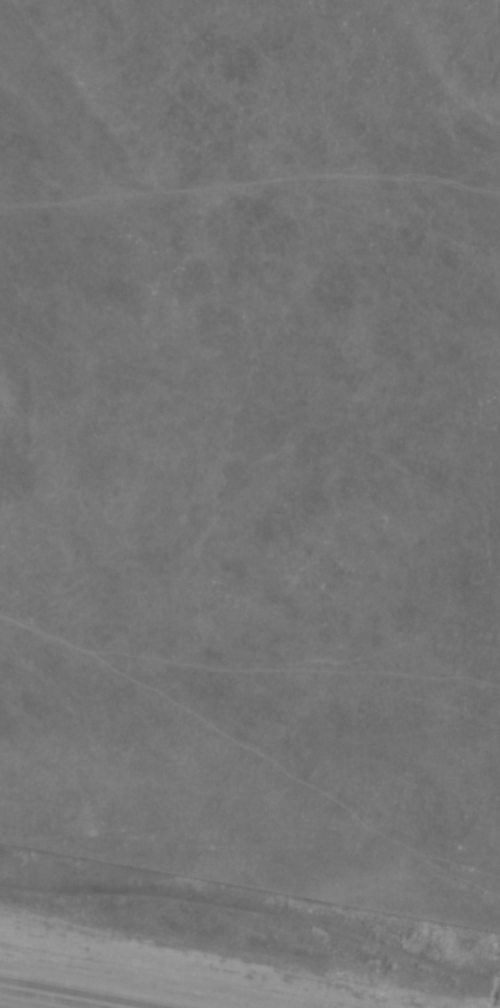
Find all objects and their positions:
road: (66, 995)

